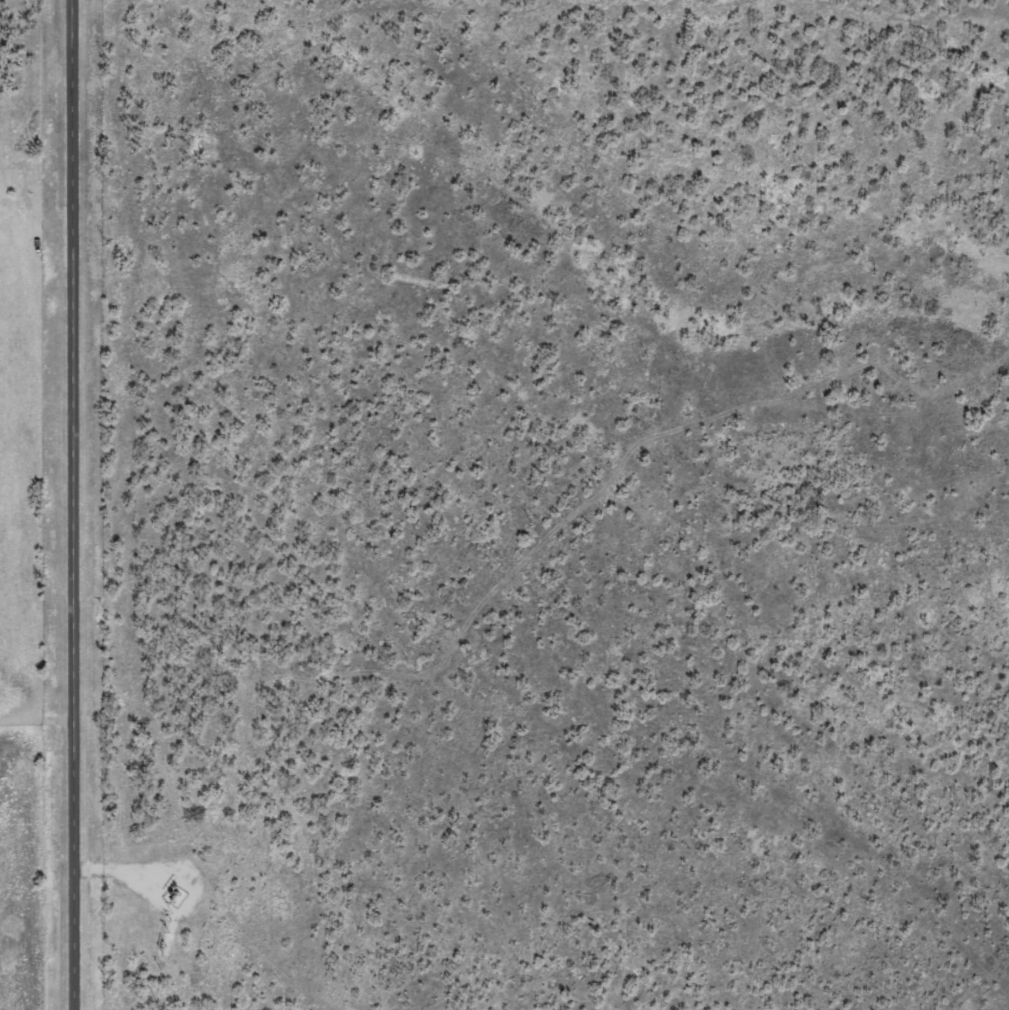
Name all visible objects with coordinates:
road: (64, 505)
power substation: (176, 897)
power tower: (178, 899)

